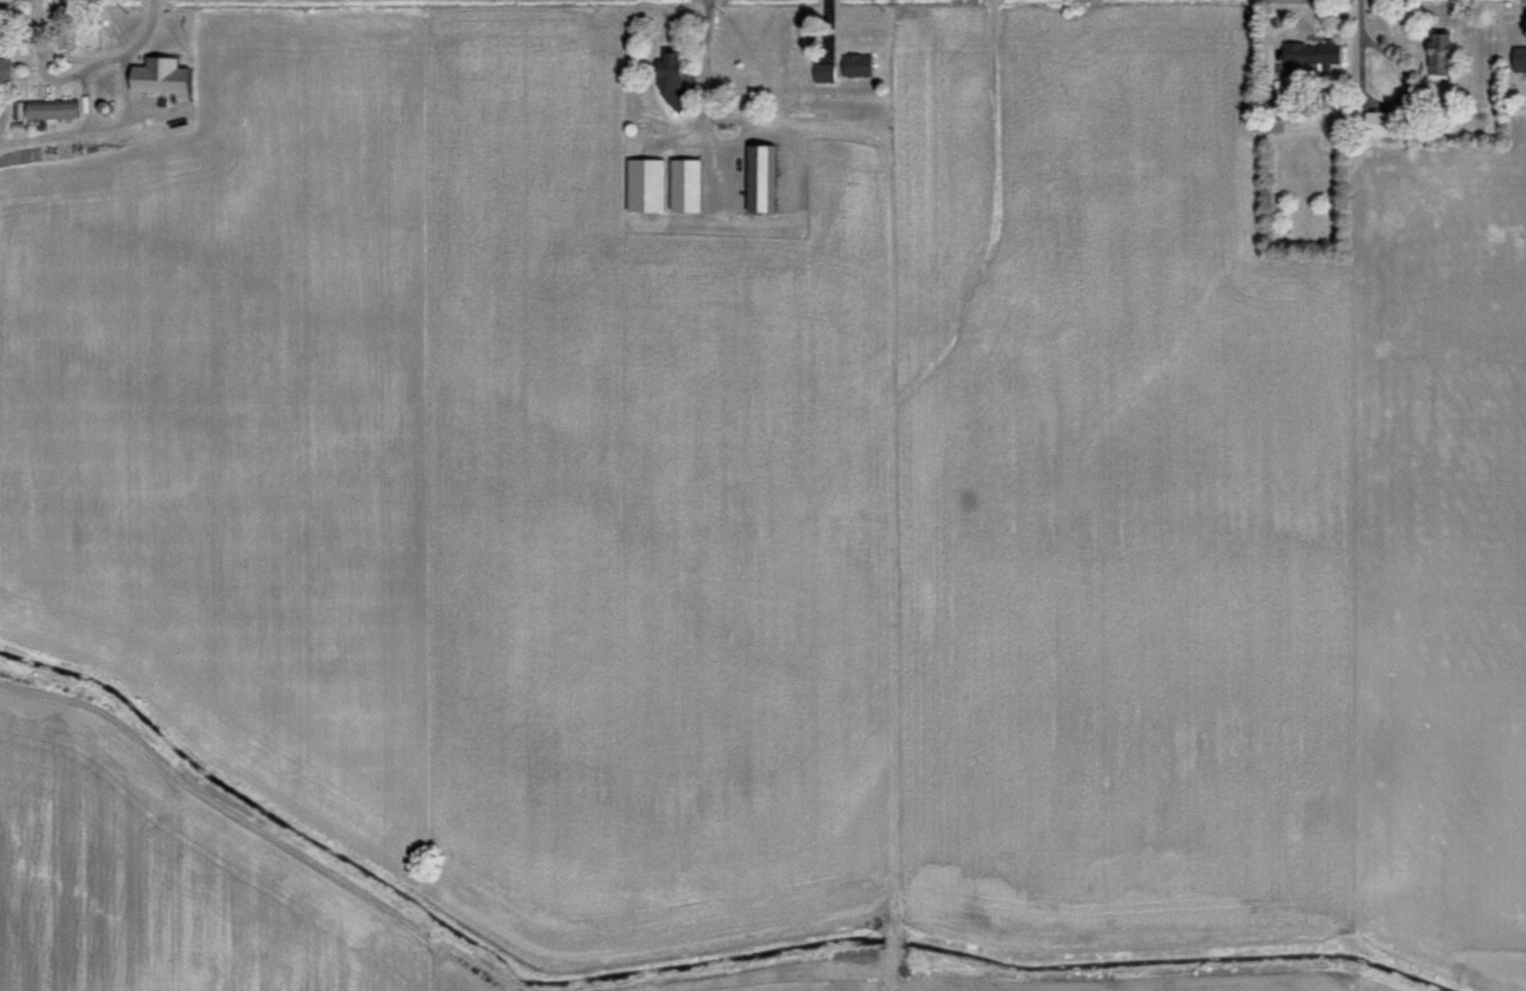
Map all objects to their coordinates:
building: (70, 39)
building: (1444, 50)
building: (1316, 56)
building: (1521, 60)
building: (861, 66)
building: (7, 70)
building: (828, 73)
building: (169, 78)
building: (678, 80)
building: (58, 111)
building: (766, 178)
building: (692, 185)
building: (1013, 317)

